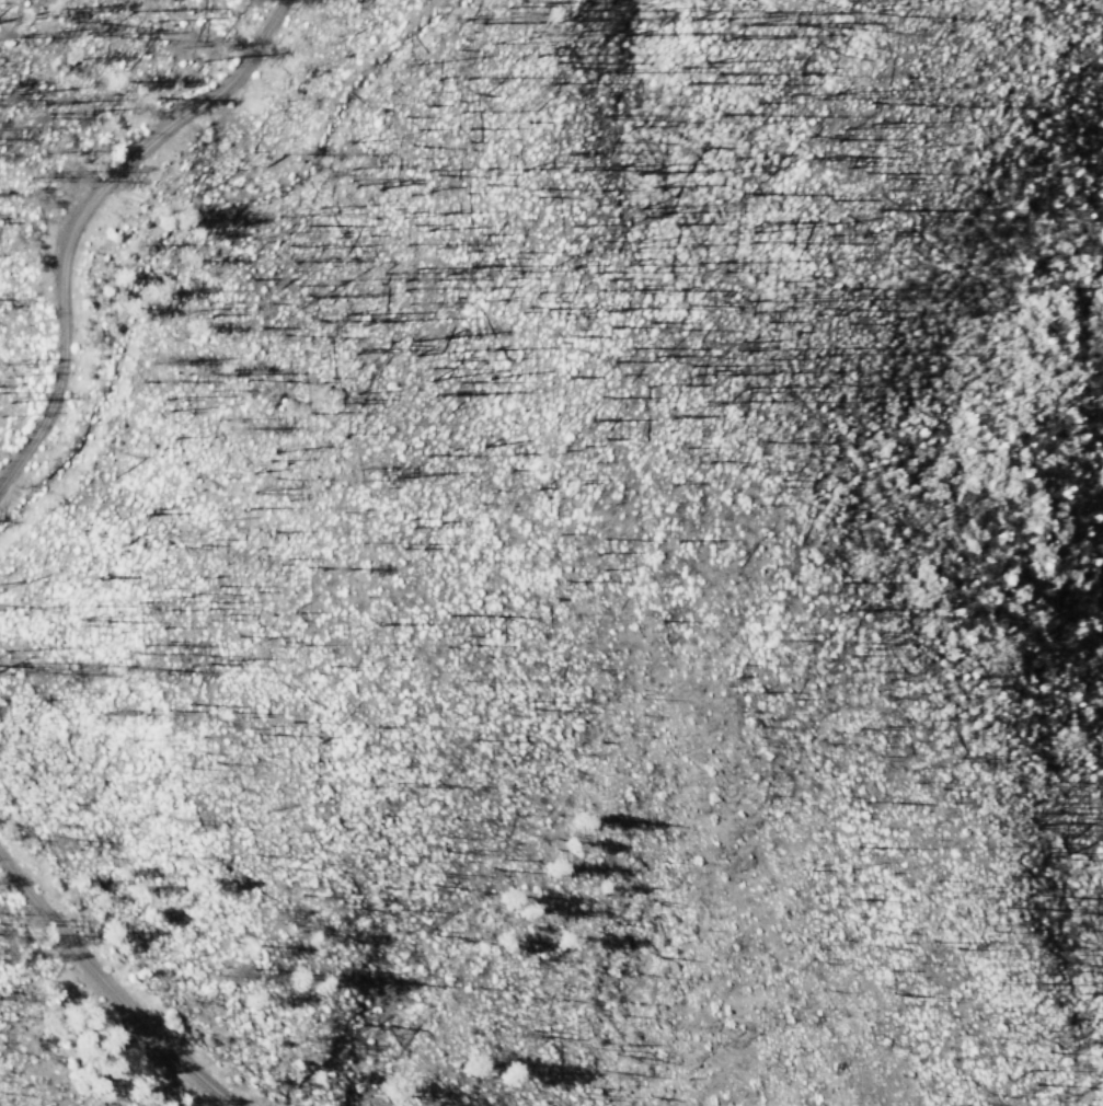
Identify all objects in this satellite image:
road: (130, 218)
road: (58, 1023)

